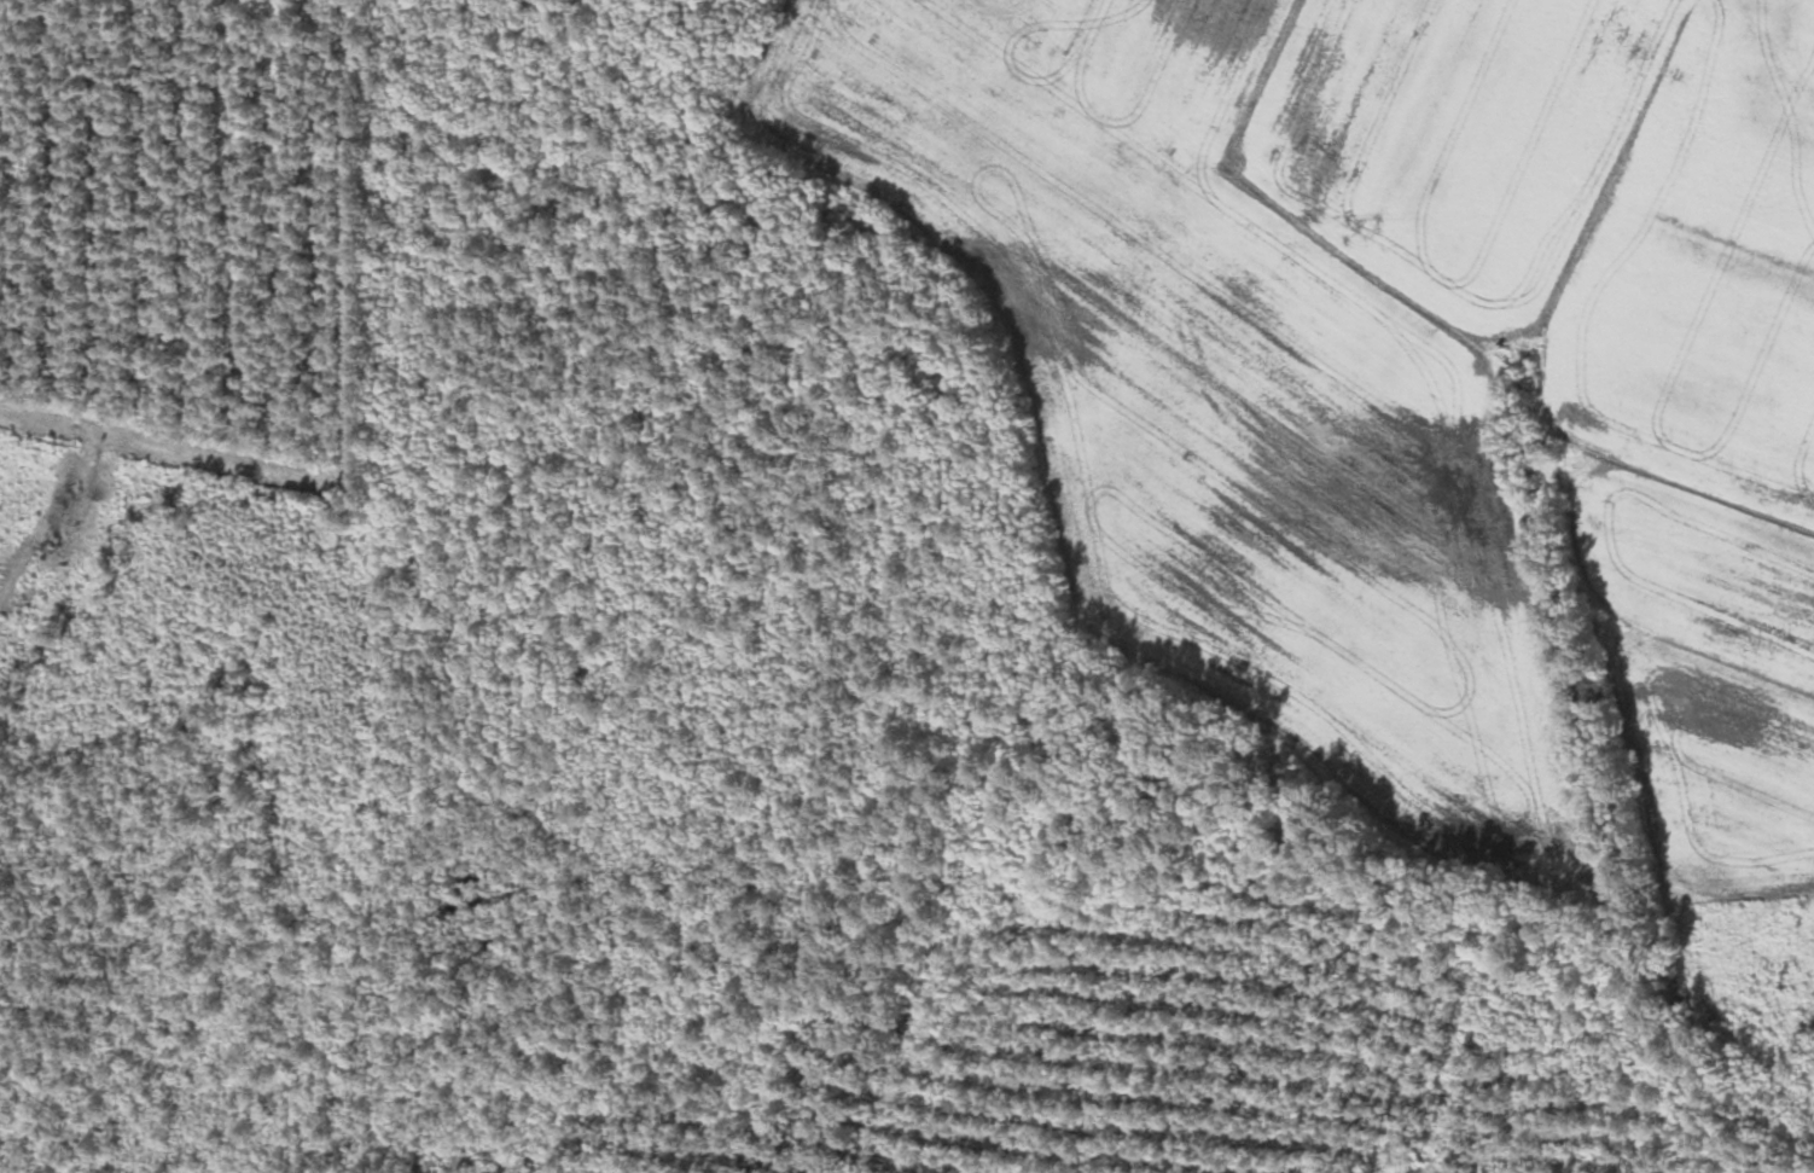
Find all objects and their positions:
road: (1780, 294)

